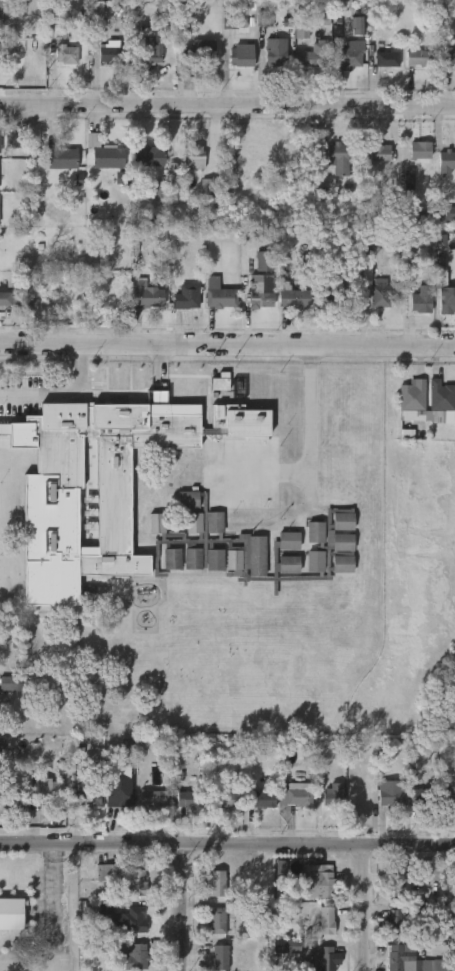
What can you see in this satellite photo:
building: (1, 10)
building: (95, 13)
building: (231, 18)
building: (265, 18)
building: (356, 26)
building: (301, 28)
building: (1, 44)
building: (150, 46)
building: (275, 51)
building: (198, 53)
building: (66, 55)
building: (109, 55)
building: (240, 55)
building: (350, 55)
building: (448, 55)
building: (316, 57)
building: (386, 59)
building: (419, 59)
road: (227, 105)
building: (0, 134)
building: (15, 141)
building: (419, 150)
building: (103, 153)
building: (379, 153)
building: (145, 155)
building: (335, 155)
building: (58, 157)
building: (193, 158)
building: (445, 162)
building: (2, 170)
building: (172, 174)
building: (120, 178)
building: (409, 181)
building: (208, 186)
building: (159, 189)
building: (415, 213)
building: (449, 213)
building: (367, 255)
building: (266, 260)
building: (376, 288)
building: (259, 291)
building: (330, 292)
building: (218, 294)
building: (9, 295)
building: (146, 295)
building: (185, 298)
building: (293, 299)
building: (420, 300)
building: (447, 302)
road: (227, 345)
building: (220, 382)
road: (60, 394)
building: (412, 395)
building: (440, 396)
road: (308, 419)
building: (406, 435)
building: (119, 462)
road: (261, 465)
building: (253, 546)
building: (13, 682)
building: (2, 749)
building: (303, 752)
building: (43, 786)
building: (117, 791)
building: (389, 795)
building: (88, 796)
building: (333, 796)
building: (448, 796)
building: (152, 797)
building: (301, 797)
building: (187, 798)
building: (423, 798)
building: (262, 800)
building: (223, 801)
road: (227, 844)
building: (122, 878)
building: (215, 882)
building: (316, 882)
building: (395, 886)
road: (180, 907)
road: (365, 908)
building: (11, 913)
building: (124, 918)
building: (325, 920)
building: (393, 920)
building: (217, 921)
road: (51, 931)
building: (288, 947)
building: (136, 958)
building: (219, 958)
building: (399, 958)
building: (322, 960)

